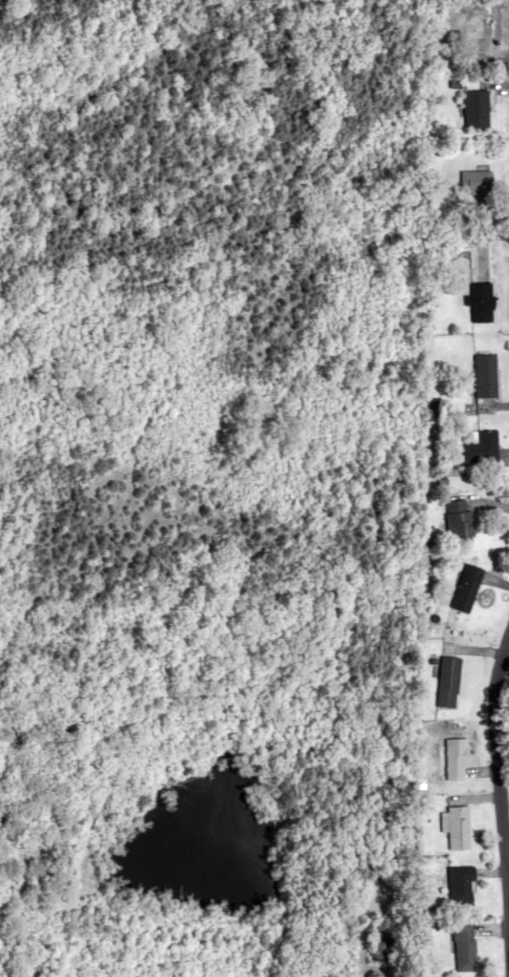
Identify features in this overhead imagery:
building: (475, 29)
building: (474, 108)
building: (474, 181)
building: (480, 301)
building: (483, 375)
building: (481, 447)
building: (457, 519)
building: (465, 586)
road: (507, 649)
building: (449, 675)
road: (500, 750)
building: (458, 757)
building: (458, 826)
road: (507, 863)
building: (460, 885)
road: (507, 919)
building: (463, 945)
building: (378, 948)

